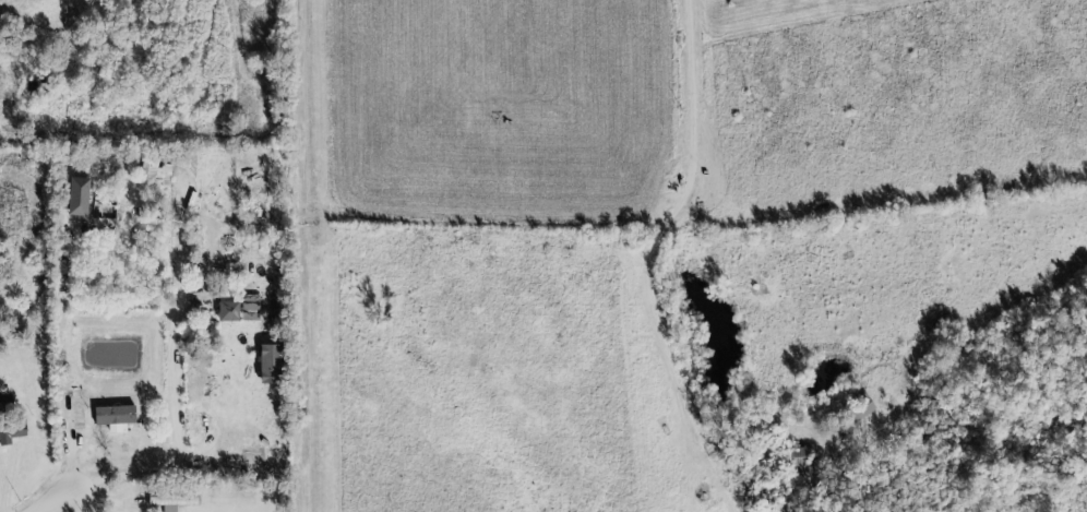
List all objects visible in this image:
building: (155, 171)
road: (704, 184)
building: (76, 198)
building: (239, 309)
building: (268, 365)
road: (60, 366)
building: (5, 402)
building: (860, 409)
building: (112, 418)
building: (11, 428)
road: (175, 432)
road: (81, 501)
building: (171, 501)
road: (58, 502)

